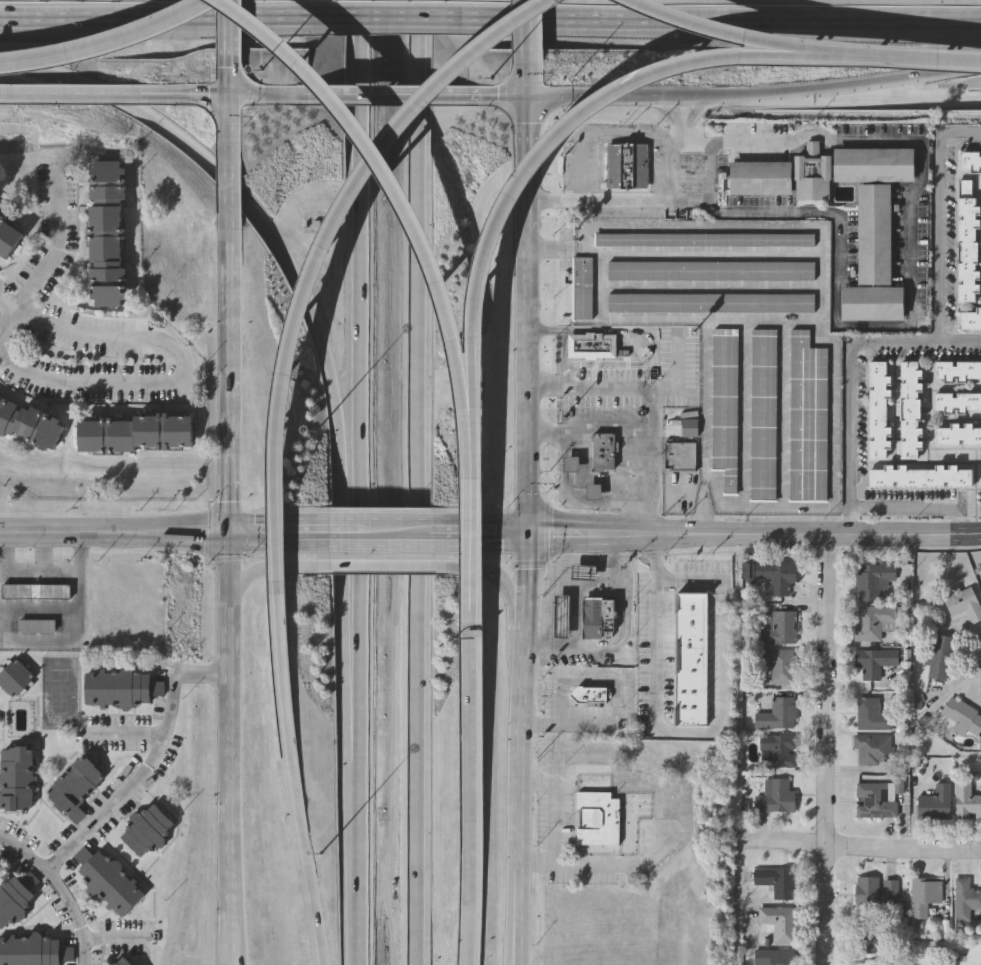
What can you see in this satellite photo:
road: (156, 16)
road: (387, 16)
road: (720, 20)
road: (528, 26)
road: (235, 28)
road: (729, 32)
road: (108, 45)
road: (903, 62)
road: (876, 82)
road: (16, 93)
road: (876, 93)
road: (89, 94)
road: (716, 94)
road: (189, 95)
traffic signals: (233, 95)
road: (275, 95)
road: (393, 95)
road: (499, 95)
road: (595, 95)
traffic signals: (530, 96)
road: (232, 108)
road: (603, 133)
road: (544, 154)
building: (970, 164)
building: (871, 167)
building: (626, 168)
road: (669, 174)
building: (810, 176)
building: (758, 180)
road: (230, 186)
road: (403, 190)
road: (619, 201)
building: (108, 235)
building: (872, 236)
building: (7, 240)
building: (704, 242)
building: (966, 244)
road: (323, 246)
road: (46, 268)
road: (820, 270)
building: (711, 273)
road: (911, 278)
building: (582, 292)
building: (710, 305)
building: (870, 306)
building: (970, 323)
road: (960, 340)
road: (921, 341)
road: (564, 343)
road: (320, 346)
building: (592, 347)
road: (183, 363)
building: (957, 372)
road: (678, 373)
road: (644, 390)
building: (957, 405)
building: (724, 409)
building: (877, 413)
building: (909, 413)
building: (763, 417)
building: (807, 422)
building: (28, 426)
road: (590, 430)
building: (132, 432)
building: (957, 436)
building: (604, 452)
building: (678, 458)
building: (572, 465)
building: (920, 480)
road: (354, 482)
road: (415, 482)
building: (594, 493)
road: (578, 498)
road: (696, 499)
road: (777, 507)
road: (526, 508)
road: (920, 508)
road: (654, 517)
road: (162, 533)
traffic signals: (232, 533)
road: (379, 533)
road: (524, 533)
traffic signals: (526, 533)
road: (634, 535)
road: (677, 536)
road: (471, 537)
road: (841, 539)
road: (377, 570)
road: (263, 572)
road: (492, 573)
road: (558, 578)
building: (771, 578)
building: (873, 583)
road: (232, 587)
building: (35, 591)
building: (963, 606)
building: (595, 621)
building: (873, 624)
building: (36, 625)
building: (779, 631)
road: (627, 639)
building: (940, 660)
building: (688, 662)
building: (874, 664)
building: (780, 668)
building: (13, 677)
road: (597, 684)
building: (117, 688)
road: (563, 695)
building: (587, 697)
road: (563, 714)
road: (618, 714)
building: (776, 717)
building: (872, 718)
building: (963, 719)
road: (569, 725)
road: (699, 735)
road: (828, 752)
building: (777, 753)
building: (873, 753)
road: (151, 767)
road: (294, 774)
building: (15, 777)
building: (73, 787)
road: (471, 794)
building: (774, 800)
building: (875, 802)
building: (968, 805)
building: (936, 806)
building: (596, 821)
road: (691, 821)
road: (559, 823)
road: (626, 827)
building: (144, 830)
road: (863, 849)
building: (0, 869)
building: (105, 880)
building: (777, 884)
road: (59, 889)
building: (12, 896)
building: (875, 897)
road: (738, 899)
building: (924, 899)
building: (965, 903)
road: (512, 910)
building: (779, 925)
building: (867, 938)
building: (32, 951)
building: (773, 959)
building: (119, 961)

